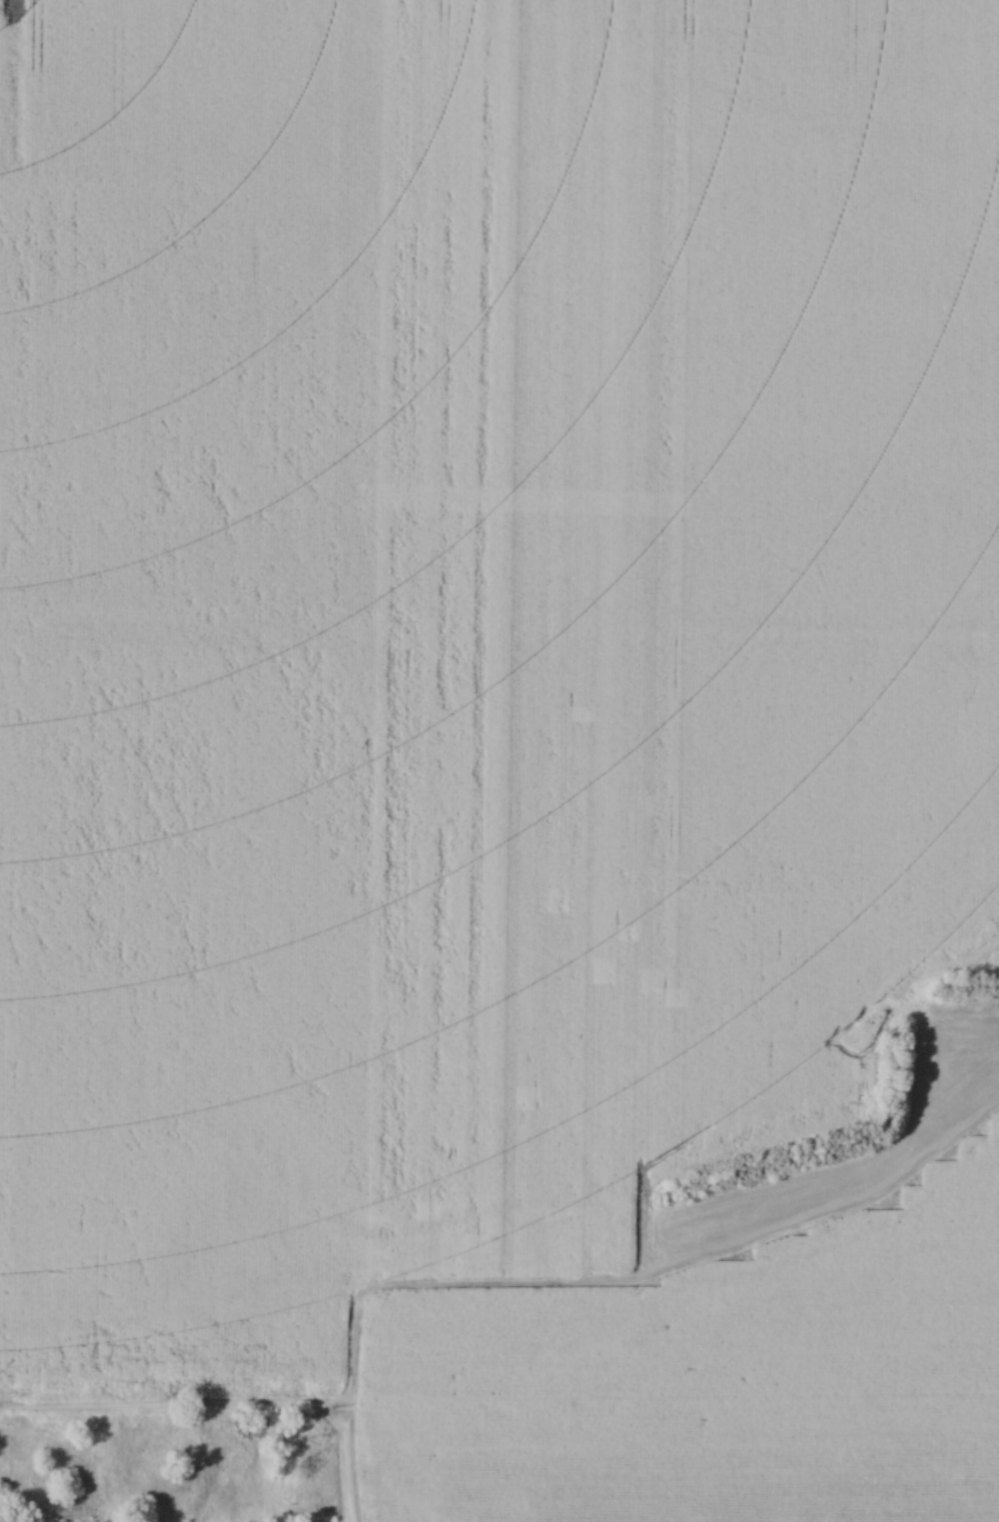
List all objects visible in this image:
building: (187, 1304)

